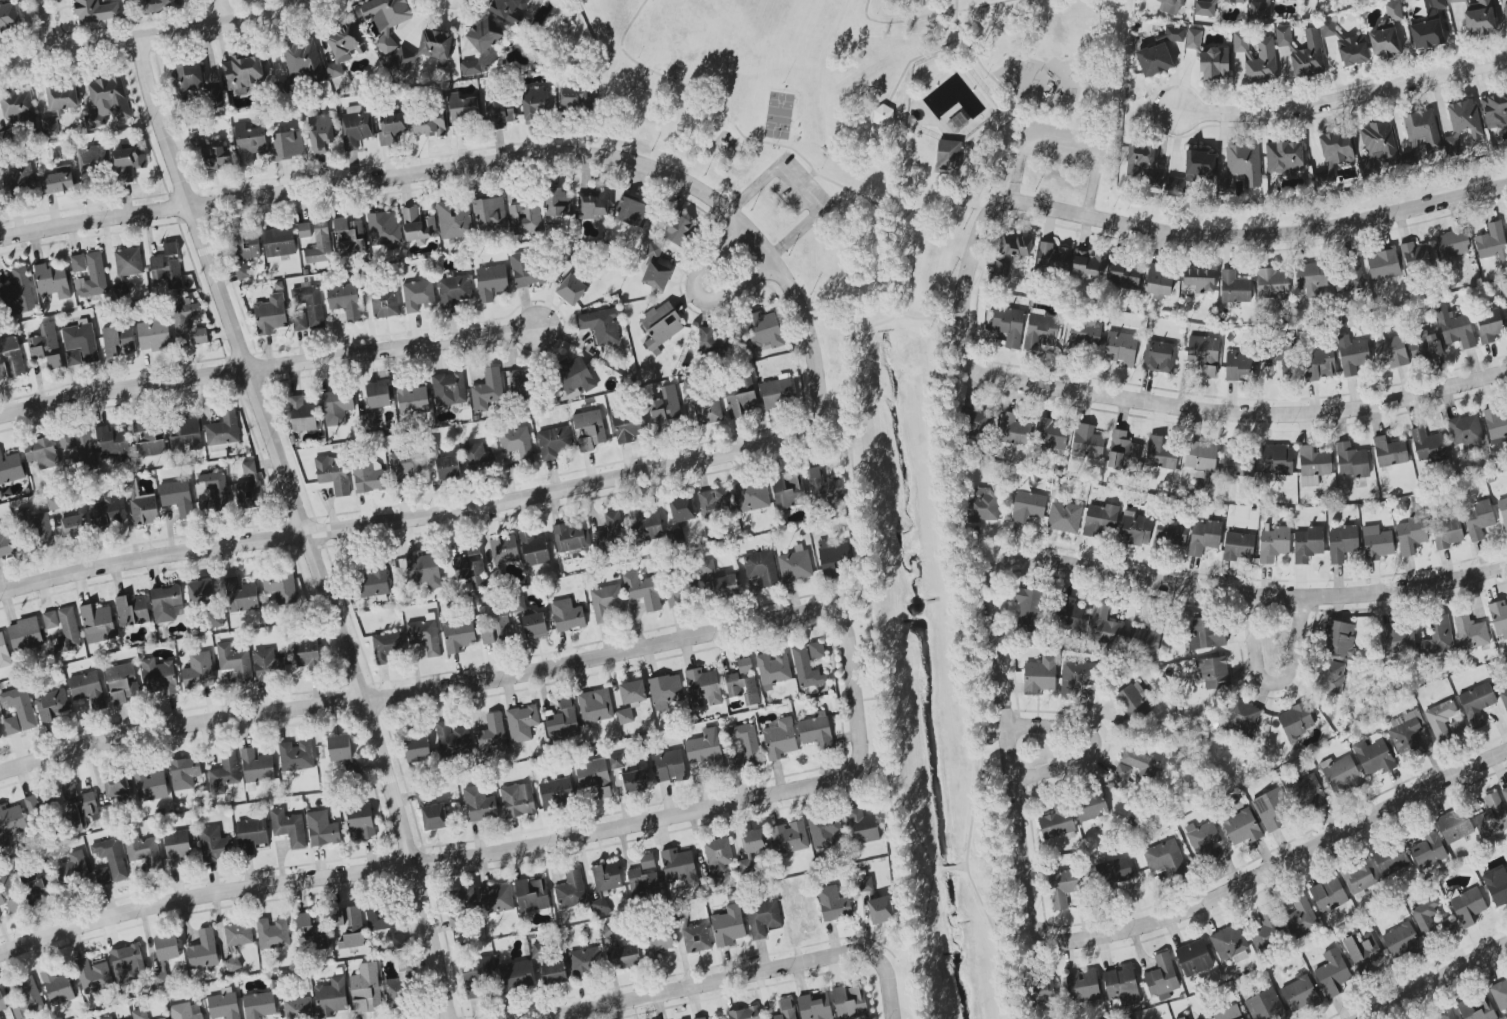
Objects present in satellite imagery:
building: (542, 0)
building: (1225, 0)
building: (1457, 1)
road: (449, 2)
building: (1434, 4)
building: (162, 5)
building: (1171, 6)
road: (975, 8)
building: (509, 9)
building: (1204, 9)
building: (1260, 10)
building: (1393, 11)
road: (221, 12)
road: (954, 12)
building: (1505, 14)
building: (9, 17)
building: (386, 19)
building: (1480, 19)
road: (45, 25)
building: (1328, 28)
building: (1427, 34)
road: (157, 35)
building: (1172, 35)
building: (1283, 36)
building: (1193, 39)
building: (1240, 42)
building: (1384, 42)
building: (482, 46)
building: (343, 48)
building: (1353, 50)
building: (426, 51)
building: (1308, 56)
road: (914, 59)
building: (1154, 60)
building: (303, 61)
building: (1215, 63)
building: (1262, 63)
building: (242, 73)
building: (190, 77)
building: (62, 97)
building: (575, 98)
road: (1342, 99)
building: (108, 102)
building: (535, 103)
building: (18, 105)
road: (613, 108)
building: (1495, 109)
building: (462, 111)
building: (499, 113)
park: (778, 115)
road: (1018, 120)
building: (957, 121)
park: (868, 124)
building: (1462, 124)
building: (429, 125)
building: (50, 127)
building: (356, 127)
building: (392, 128)
building: (1422, 128)
building: (320, 133)
building: (7, 137)
road: (1061, 139)
building: (249, 142)
building: (288, 144)
building: (1379, 144)
parking lot: (1062, 146)
building: (1336, 149)
building: (211, 153)
road: (598, 155)
building: (947, 155)
road: (989, 156)
building: (1284, 157)
building: (94, 159)
building: (128, 163)
building: (1142, 164)
building: (1241, 167)
building: (1194, 170)
road: (811, 174)
building: (17, 177)
building: (57, 182)
parking lot: (798, 187)
road: (802, 187)
building: (594, 204)
building: (557, 205)
road: (903, 210)
building: (632, 212)
building: (490, 213)
building: (525, 219)
building: (1506, 220)
building: (453, 221)
building: (418, 226)
building: (383, 228)
building: (679, 228)
building: (304, 230)
road: (1211, 233)
building: (349, 237)
building: (279, 241)
building: (1452, 243)
building: (1492, 243)
building: (246, 245)
building: (319, 245)
building: (1012, 250)
building: (170, 251)
building: (1416, 257)
building: (1053, 258)
road: (892, 260)
building: (78, 263)
building: (1089, 264)
building: (1383, 264)
building: (126, 269)
building: (655, 269)
building: (526, 270)
building: (166, 271)
building: (243, 271)
building: (1125, 276)
building: (92, 277)
building: (1312, 279)
building: (1159, 280)
building: (52, 281)
building: (1199, 281)
building: (491, 282)
building: (1272, 283)
building: (1234, 288)
building: (571, 289)
building: (454, 290)
building: (18, 293)
building: (418, 295)
road: (697, 296)
building: (345, 300)
building: (310, 303)
building: (385, 304)
building: (270, 314)
road: (929, 319)
building: (183, 321)
building: (299, 322)
building: (601, 325)
building: (1009, 325)
building: (661, 326)
building: (1489, 326)
road: (864, 327)
building: (1455, 328)
building: (762, 329)
building: (1040, 330)
building: (1082, 334)
building: (154, 335)
building: (201, 335)
building: (712, 339)
building: (117, 340)
building: (81, 341)
building: (46, 346)
building: (1424, 347)
building: (1120, 348)
road: (945, 350)
building: (1391, 352)
building: (1204, 353)
building: (1352, 355)
building: (1160, 356)
building: (12, 357)
building: (73, 358)
building: (1282, 359)
building: (1319, 363)
road: (267, 366)
building: (1240, 366)
building: (3, 371)
building: (575, 376)
building: (520, 384)
building: (449, 388)
road: (844, 389)
building: (487, 390)
building: (777, 392)
road: (832, 392)
building: (378, 395)
building: (412, 399)
building: (666, 405)
building: (337, 406)
road: (1194, 408)
building: (708, 411)
building: (302, 415)
building: (977, 420)
building: (1496, 425)
building: (628, 427)
building: (589, 429)
building: (1013, 429)
building: (1465, 430)
building: (223, 432)
building: (184, 433)
building: (1051, 434)
building: (148, 439)
building: (1087, 441)
building: (554, 442)
building: (113, 444)
building: (517, 444)
building: (1428, 446)
building: (78, 448)
building: (1122, 451)
building: (1390, 451)
building: (41, 452)
building: (1160, 454)
building: (478, 457)
building: (1277, 460)
building: (1352, 460)
building: (1201, 461)
building: (1236, 462)
building: (1313, 465)
building: (404, 467)
building: (10, 468)
building: (448, 468)
building: (333, 474)
building: (368, 476)
road: (949, 478)
building: (249, 487)
building: (825, 488)
building: (213, 490)
building: (788, 490)
building: (1506, 493)
building: (752, 495)
building: (177, 497)
building: (715, 502)
building: (141, 505)
building: (983, 505)
building: (1028, 507)
road: (857, 508)
building: (682, 509)
building: (105, 511)
building: (1503, 511)
building: (1064, 517)
building: (1478, 519)
building: (1101, 520)
building: (74, 526)
road: (303, 526)
building: (645, 526)
building: (38, 529)
building: (1135, 529)
building: (610, 530)
building: (1412, 532)
building: (1446, 532)
road: (302, 534)
building: (1170, 534)
building: (571, 537)
building: (1204, 537)
building: (7, 543)
building: (1274, 543)
building: (1343, 543)
building: (1376, 543)
building: (1308, 544)
building: (1239, 546)
building: (534, 549)
building: (504, 550)
building: (833, 558)
building: (795, 566)
building: (761, 567)
building: (471, 568)
building: (423, 569)
building: (373, 582)
building: (718, 583)
building: (281, 587)
building: (200, 591)
building: (643, 591)
building: (677, 594)
building: (241, 596)
road: (1274, 596)
building: (606, 602)
building: (166, 604)
building: (1028, 608)
building: (132, 611)
building: (567, 615)
building: (1069, 616)
building: (215, 619)
building: (1499, 619)
building: (50, 620)
building: (497, 620)
building: (97, 624)
building: (534, 626)
building: (1104, 627)
building: (68, 630)
building: (1471, 632)
building: (1205, 633)
building: (25, 634)
building: (425, 634)
building: (1438, 636)
building: (459, 637)
building: (487, 637)
building: (1339, 638)
building: (1398, 638)
building: (1145, 641)
building: (386, 647)
building: (816, 650)
building: (4, 652)
building: (307, 655)
road: (972, 655)
building: (235, 662)
building: (268, 664)
building: (745, 668)
building: (806, 669)
building: (198, 670)
building: (773, 670)
building: (1214, 673)
building: (1077, 675)
building: (1040, 676)
building: (1330, 676)
building: (159, 677)
road: (1270, 682)
building: (121, 683)
road: (462, 683)
road: (876, 683)
building: (703, 688)
building: (742, 688)
building: (88, 689)
building: (665, 691)
building: (632, 692)
road: (866, 697)
building: (1504, 698)
building: (1135, 701)
building: (1477, 704)
building: (51, 705)
building: (595, 705)
building: (19, 706)
building: (625, 716)
building: (1242, 717)
building: (1444, 720)
building: (563, 721)
building: (1295, 722)
building: (522, 723)
building: (12, 726)
building: (816, 732)
road: (993, 732)
building: (1407, 733)
building: (490, 735)
building: (0, 737)
building: (452, 739)
building: (780, 739)
building: (746, 742)
road: (1091, 742)
building: (417, 747)
building: (339, 748)
building: (705, 750)
building: (296, 755)
building: (1374, 755)
building: (736, 760)
building: (617, 761)
building: (1139, 762)
building: (668, 766)
building: (1122, 772)
building: (184, 773)
building: (224, 774)
building: (1341, 775)
building: (594, 777)
building: (635, 781)
building: (150, 785)
building: (116, 786)
building: (1307, 791)
building: (556, 792)
building: (1505, 794)
building: (518, 800)
building: (479, 804)
building: (80, 807)
building: (1091, 807)
building: (34, 808)
building: (1270, 808)
building: (1492, 816)
building: (434, 817)
building: (361, 821)
building: (1057, 821)
building: (11, 823)
building: (1454, 825)
building: (863, 826)
building: (289, 827)
building: (1242, 827)
building: (322, 829)
building: (824, 830)
building: (251, 834)
building: (790, 837)
building: (1202, 839)
building: (754, 841)
building: (214, 844)
building: (177, 847)
road: (995, 849)
building: (1428, 850)
building: (145, 851)
road: (896, 852)
building: (718, 855)
road: (462, 856)
building: (112, 858)
building: (1165, 858)
building: (1390, 859)
building: (647, 861)
road: (965, 861)
building: (678, 866)
building: (74, 867)
road: (960, 867)
road: (948, 868)
road: (931, 869)
road: (937, 869)
building: (1116, 874)
building: (102, 876)
building: (1359, 876)
building: (34, 882)
building: (643, 884)
building: (865, 884)
building: (605, 885)
building: (1497, 886)
building: (1063, 887)
building: (570, 890)
building: (10, 894)
building: (532, 895)
building: (1328, 895)
building: (496, 898)
building: (463, 899)
building: (833, 903)
building: (1468, 906)
building: (881, 910)
building: (1300, 916)
building: (1427, 917)
building: (763, 918)
building: (453, 921)
building: (383, 922)
building: (349, 926)
building: (728, 926)
building: (1266, 931)
building: (311, 933)
building: (238, 934)
building: (272, 934)
building: (696, 938)
road: (1084, 939)
building: (1401, 941)
building: (658, 942)
building: (1229, 944)
building: (203, 950)
building: (621, 950)
building: (541, 951)
building: (1363, 951)
building: (165, 956)
building: (1194, 958)
building: (586, 961)
building: (128, 963)
building: (232, 964)
building: (555, 973)
building: (1332, 973)
road: (912, 974)
building: (93, 975)
building: (516, 975)
road: (733, 976)
building: (1161, 976)
building: (478, 977)
road: (1435, 982)
building: (1122, 985)
building: (1082, 986)
building: (57, 987)
building: (365, 988)
building: (1042, 991)
road: (1011, 992)
building: (1300, 993)
building: (398, 994)
building: (1500, 995)
building: (331, 998)
building: (27, 1000)
building: (850, 1002)
building: (224, 1004)
building: (259, 1005)
building: (1266, 1005)
building: (815, 1006)
building: (299, 1008)
building: (786, 1009)
building: (1477, 1009)
building: (183, 1012)
building: (744, 1013)
building: (1229, 1013)
building: (140, 1014)
building: (1448, 1014)
building: (108, 1017)
building: (165, 1018)
building: (701, 1018)
building: (1183, 1018)

